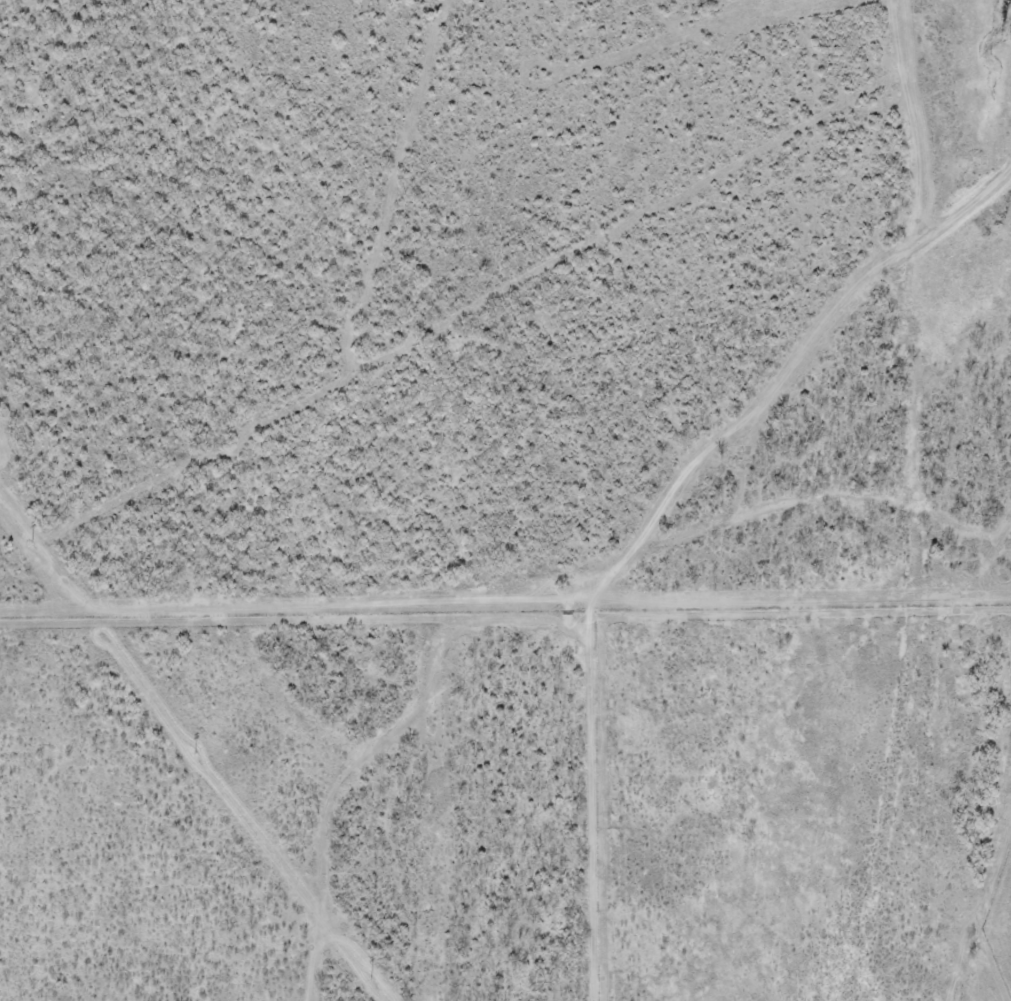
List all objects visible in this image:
power tower: (31, 545)
power tower: (196, 754)
power tower: (371, 978)

